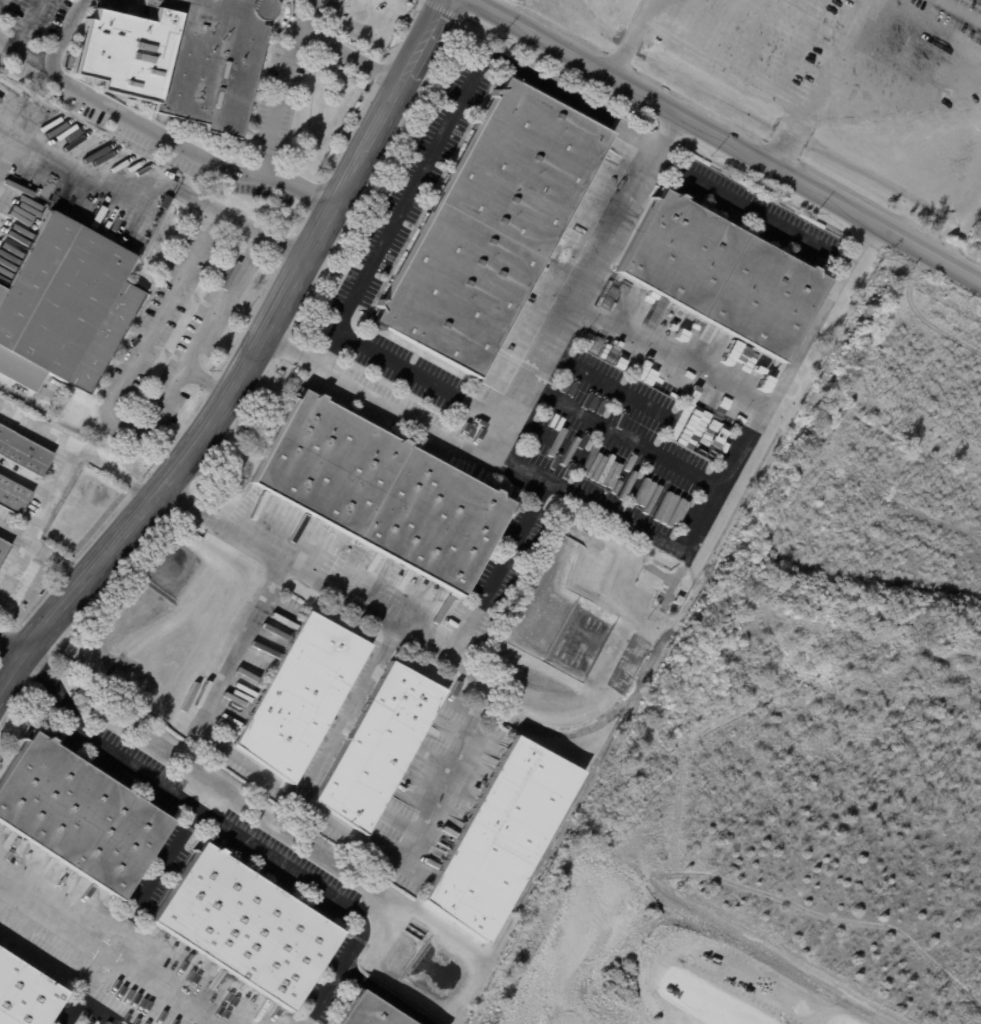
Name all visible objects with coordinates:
building: (281, 0)
road: (648, 7)
road: (961, 11)
road: (684, 16)
road: (26, 24)
road: (719, 25)
road: (935, 25)
road: (64, 33)
road: (758, 34)
road: (627, 44)
road: (798, 44)
road: (23, 53)
road: (871, 53)
road: (837, 54)
road: (350, 55)
building: (180, 57)
road: (725, 61)
road: (897, 97)
road: (276, 119)
road: (154, 130)
road: (452, 133)
road: (789, 136)
road: (729, 140)
road: (110, 185)
building: (166, 202)
road: (747, 212)
building: (492, 230)
building: (720, 274)
building: (64, 306)
road: (667, 350)
road: (248, 360)
building: (54, 381)
road: (207, 381)
road: (121, 389)
road: (480, 405)
road: (494, 435)
road: (78, 449)
building: (24, 451)
road: (26, 480)
building: (382, 492)
road: (53, 495)
building: (14, 496)
road: (687, 545)
building: (4, 550)
road: (42, 550)
road: (492, 580)
road: (238, 643)
road: (9, 646)
building: (302, 696)
road: (348, 713)
building: (380, 746)
road: (164, 790)
building: (79, 815)
building: (501, 837)
road: (391, 857)
road: (301, 878)
building: (246, 926)
road: (105, 954)
road: (85, 989)
building: (26, 994)
road: (319, 994)
road: (382, 994)
road: (102, 1010)
building: (371, 1011)

